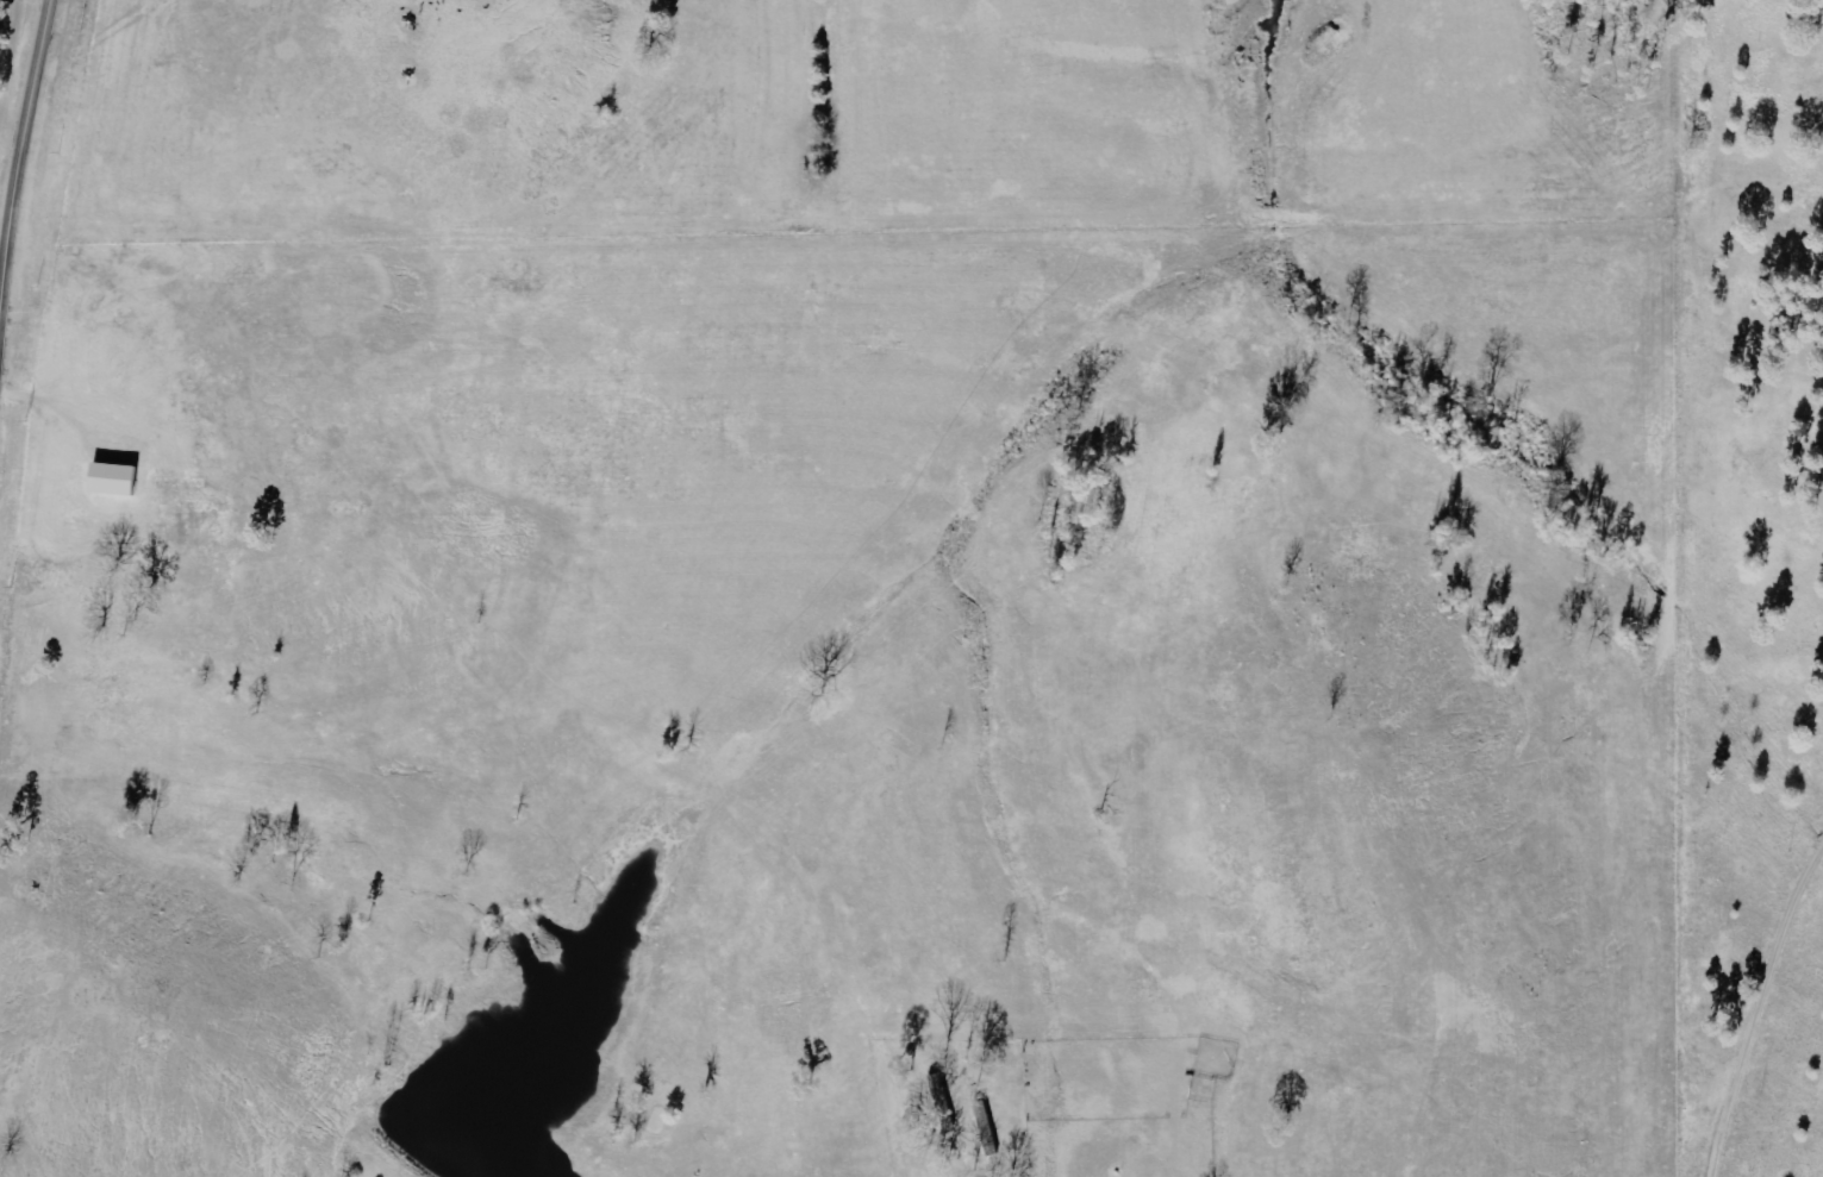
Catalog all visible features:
road: (23, 21)
road: (23, 154)
road: (1759, 1050)
road: (1040, 1101)
road: (919, 1165)

